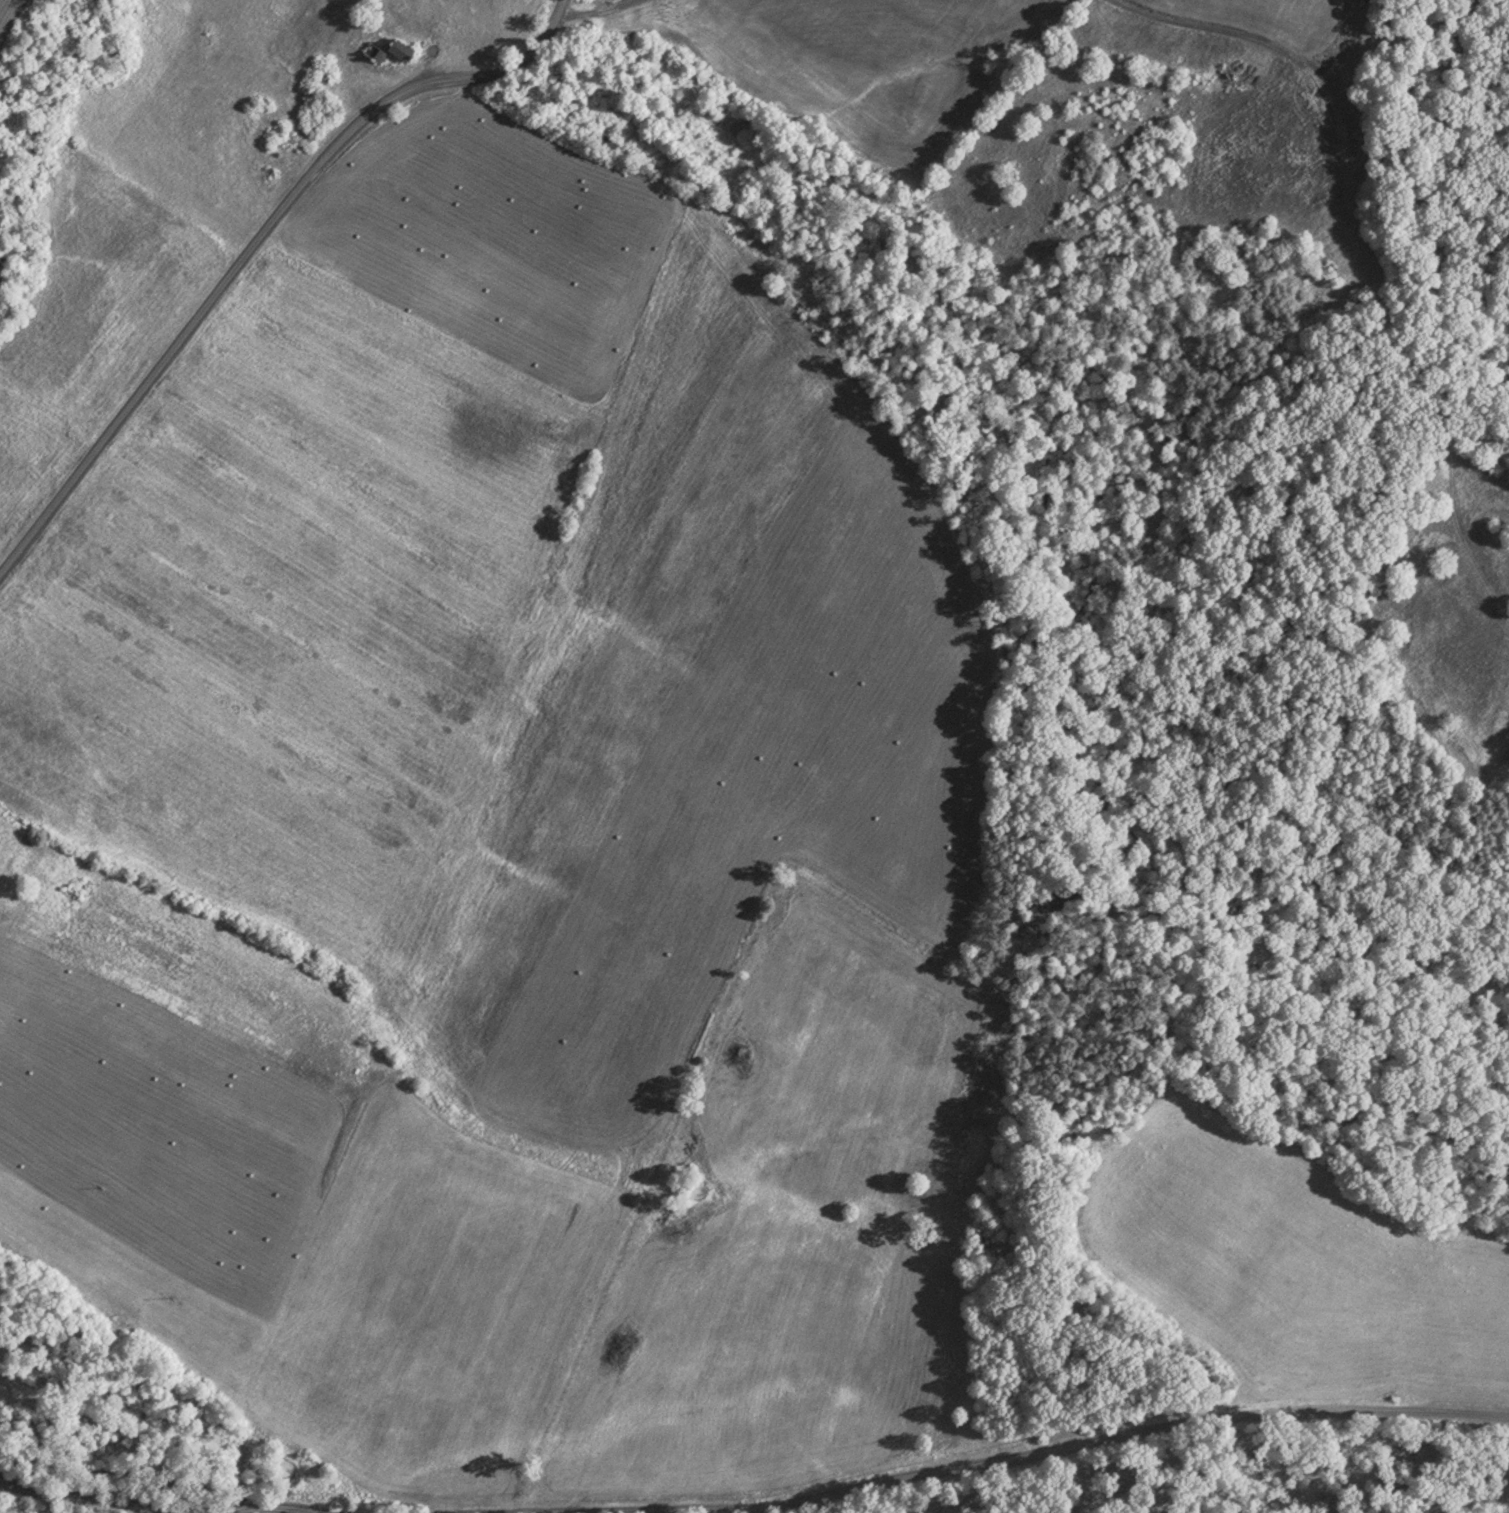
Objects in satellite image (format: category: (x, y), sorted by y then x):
building: (403, 46)
building: (376, 49)
road: (253, 249)
road: (1045, 1451)
road: (84, 1496)
road: (238, 1508)
road: (290, 1510)

